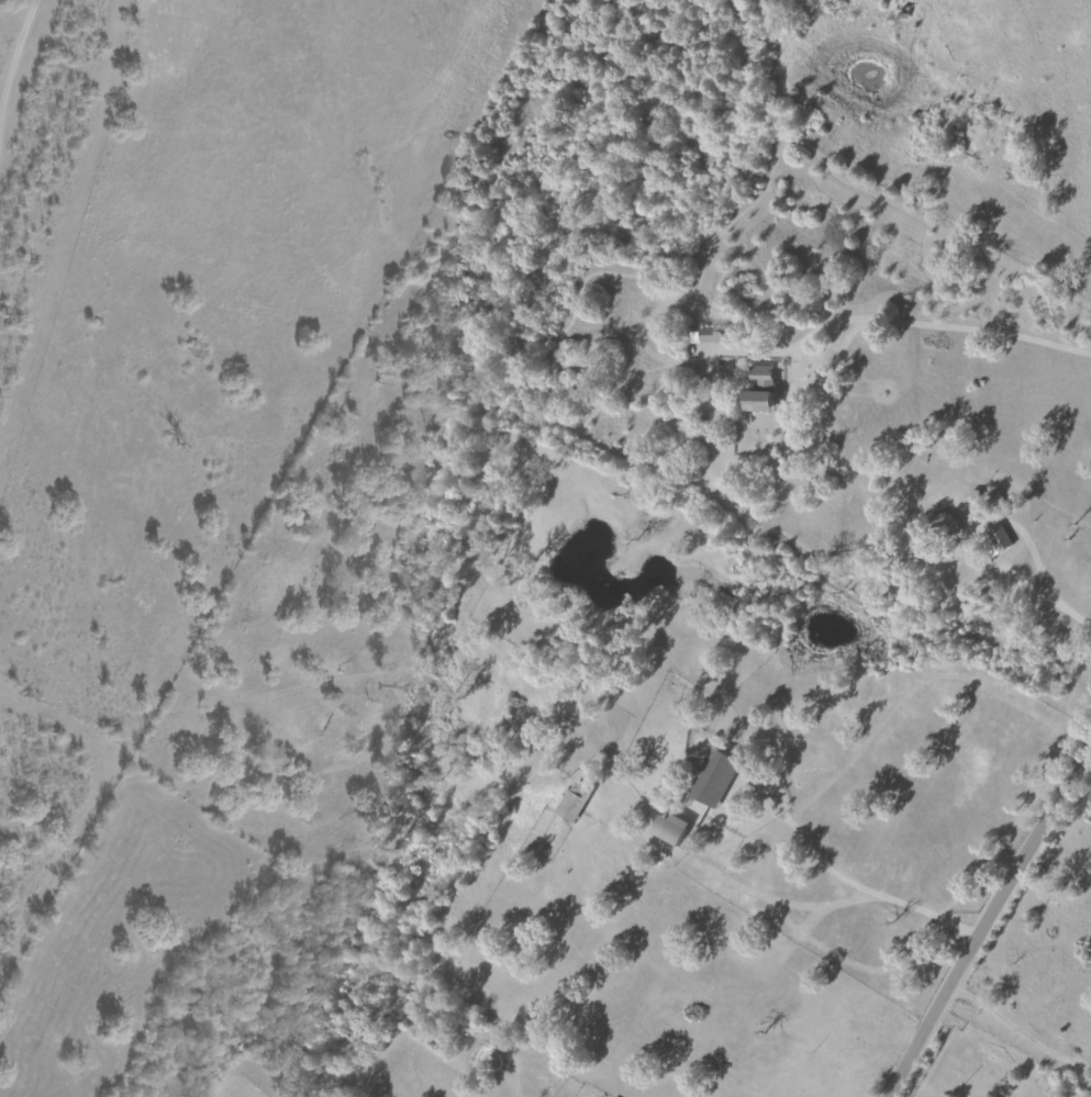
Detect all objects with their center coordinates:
road: (54, 103)
road: (936, 326)
building: (709, 335)
building: (756, 389)
building: (940, 519)
building: (994, 539)
road: (1044, 601)
building: (711, 779)
building: (666, 828)
road: (877, 894)
road: (1001, 920)

